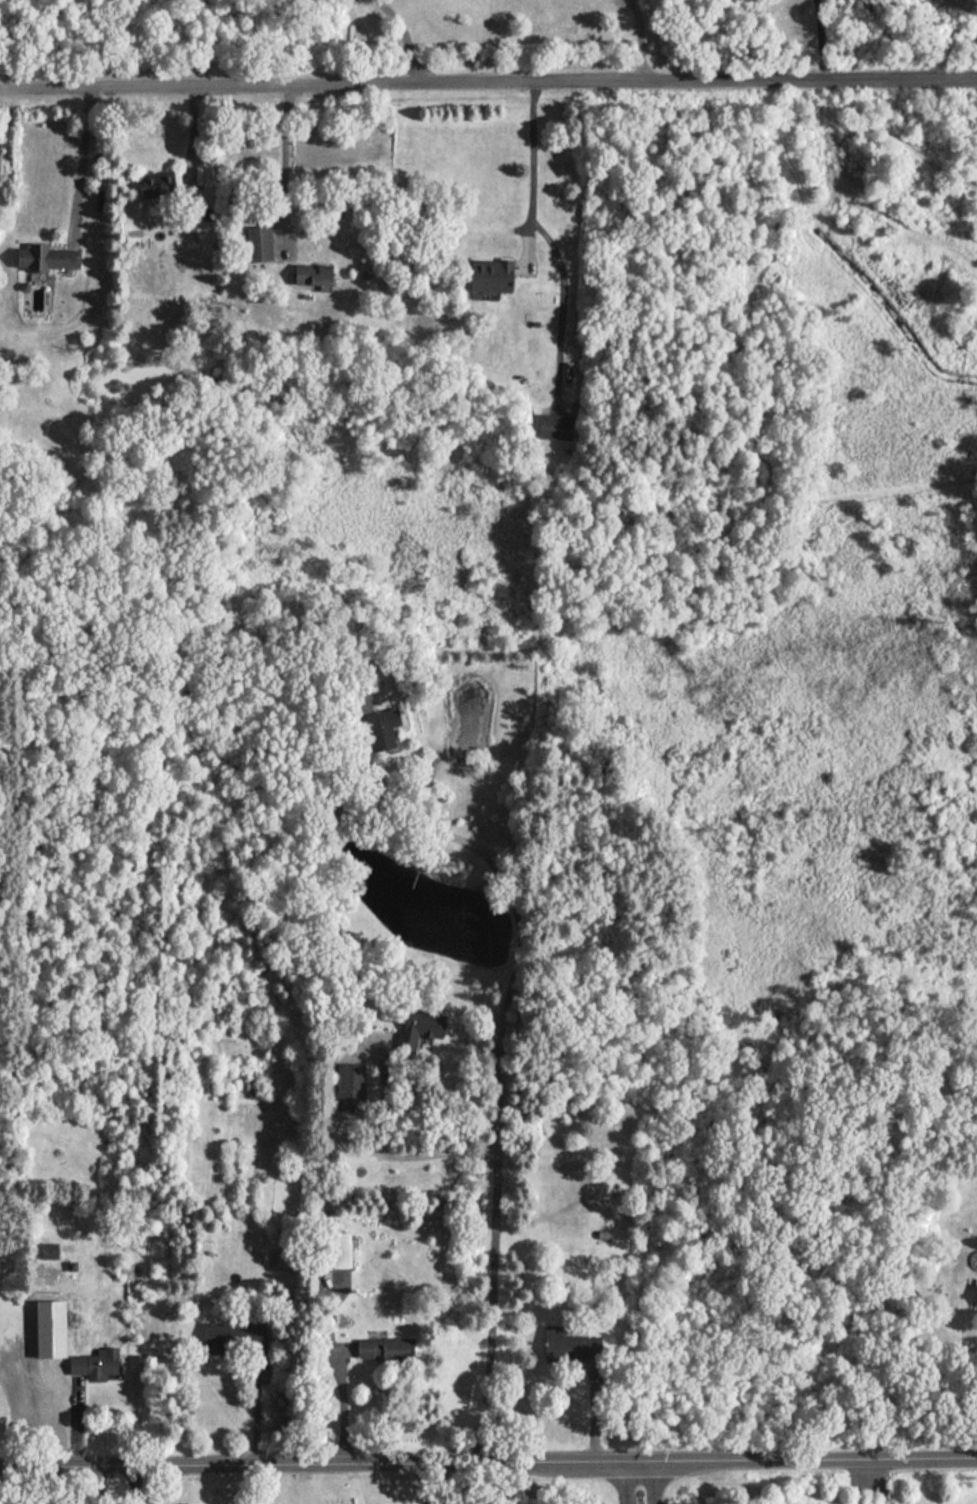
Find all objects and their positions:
road: (404, 37)
road: (640, 39)
road: (820, 39)
road: (488, 81)
road: (284, 161)
road: (81, 162)
road: (535, 167)
building: (161, 183)
building: (260, 243)
building: (51, 257)
building: (317, 273)
building: (495, 275)
road: (565, 285)
building: (556, 427)
building: (385, 730)
road: (521, 918)
building: (423, 1030)
building: (351, 1087)
road: (388, 1155)
building: (344, 1250)
road: (484, 1310)
building: (234, 1335)
building: (572, 1345)
building: (388, 1350)
building: (98, 1363)
road: (346, 1399)
road: (259, 1410)
road: (488, 1460)
road: (621, 1481)
road: (657, 1481)
road: (438, 1482)
road: (101, 1484)

